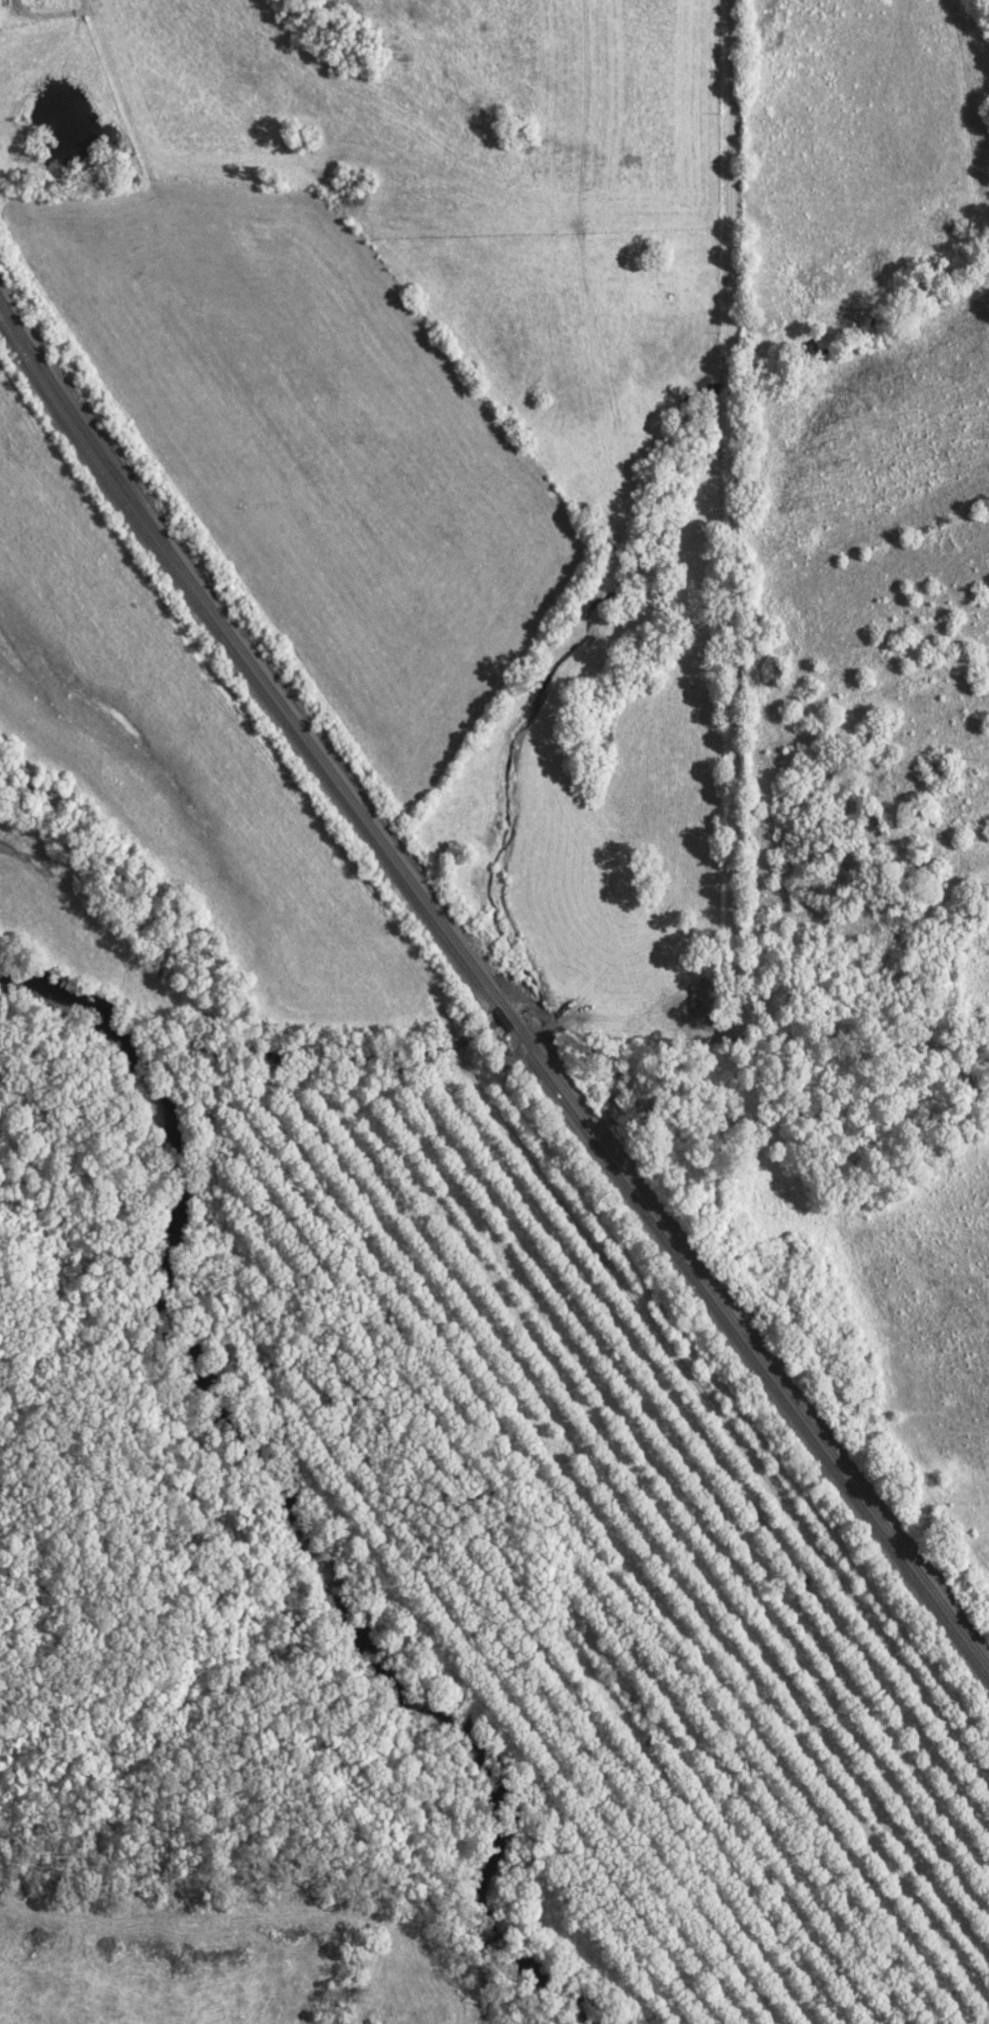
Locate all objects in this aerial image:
road: (732, 638)
railway: (243, 651)
railway: (241, 664)
railway: (509, 1013)
railway: (499, 1019)
railway: (753, 1345)
railway: (748, 1353)

